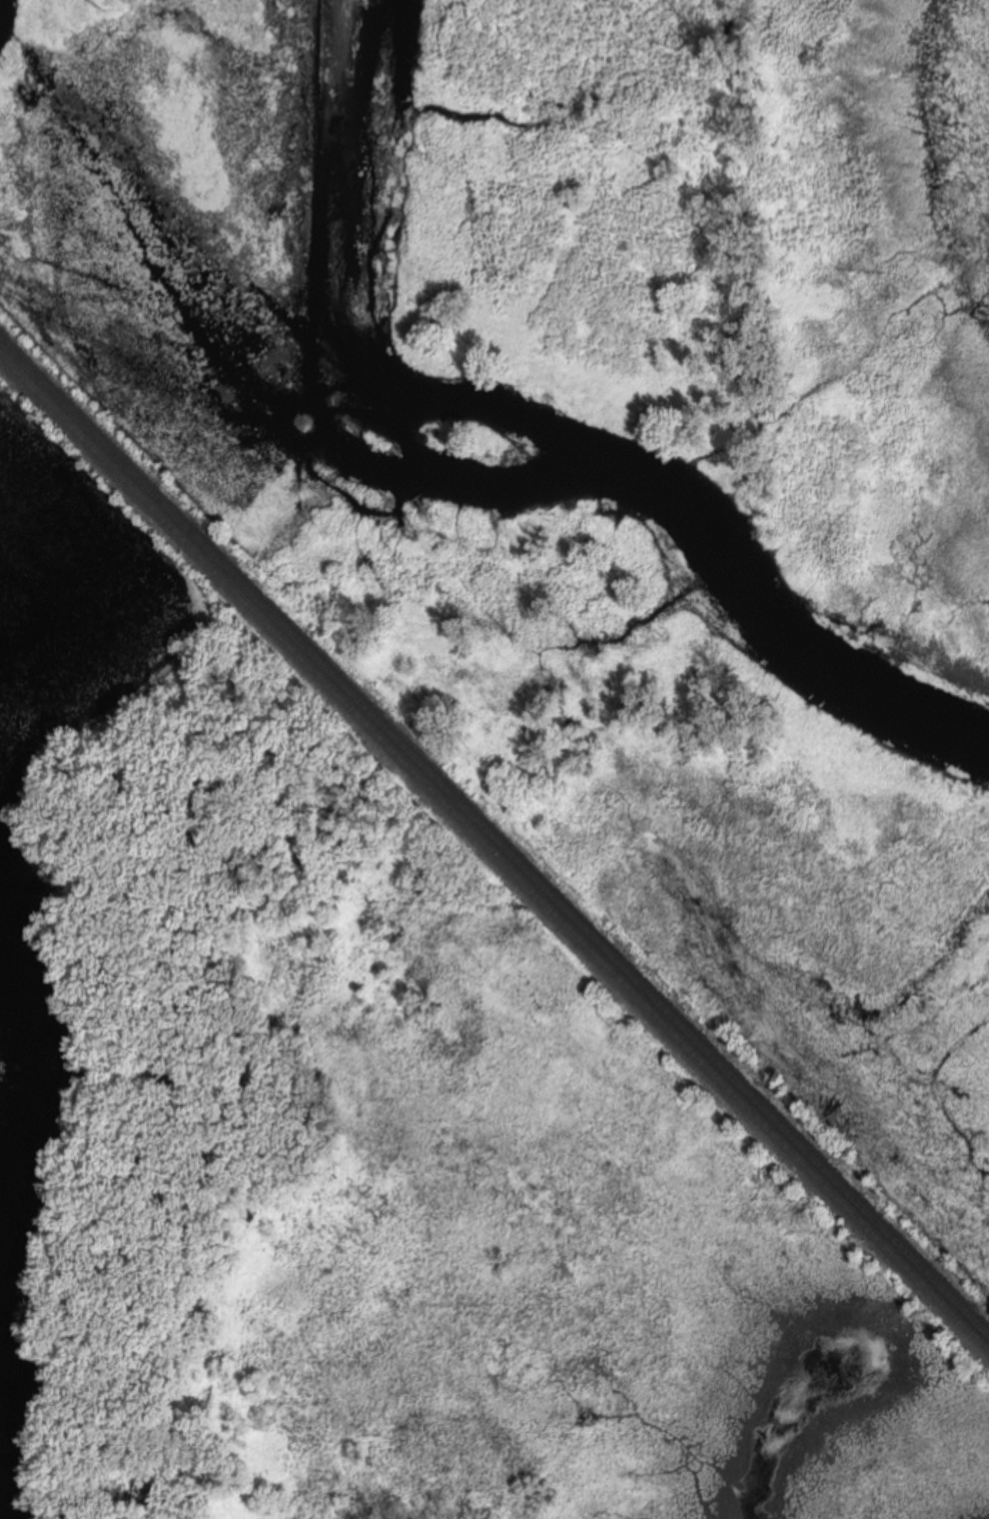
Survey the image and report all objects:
railway: (494, 833)
railway: (494, 850)

